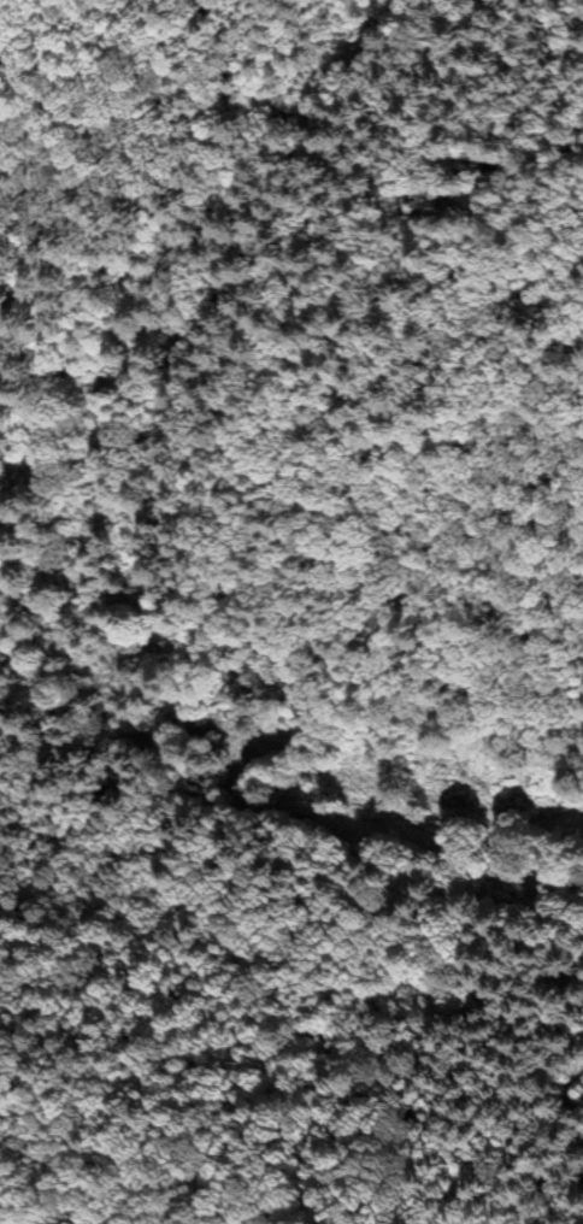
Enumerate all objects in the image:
road: (212, 212)
road: (154, 554)
road: (373, 710)

